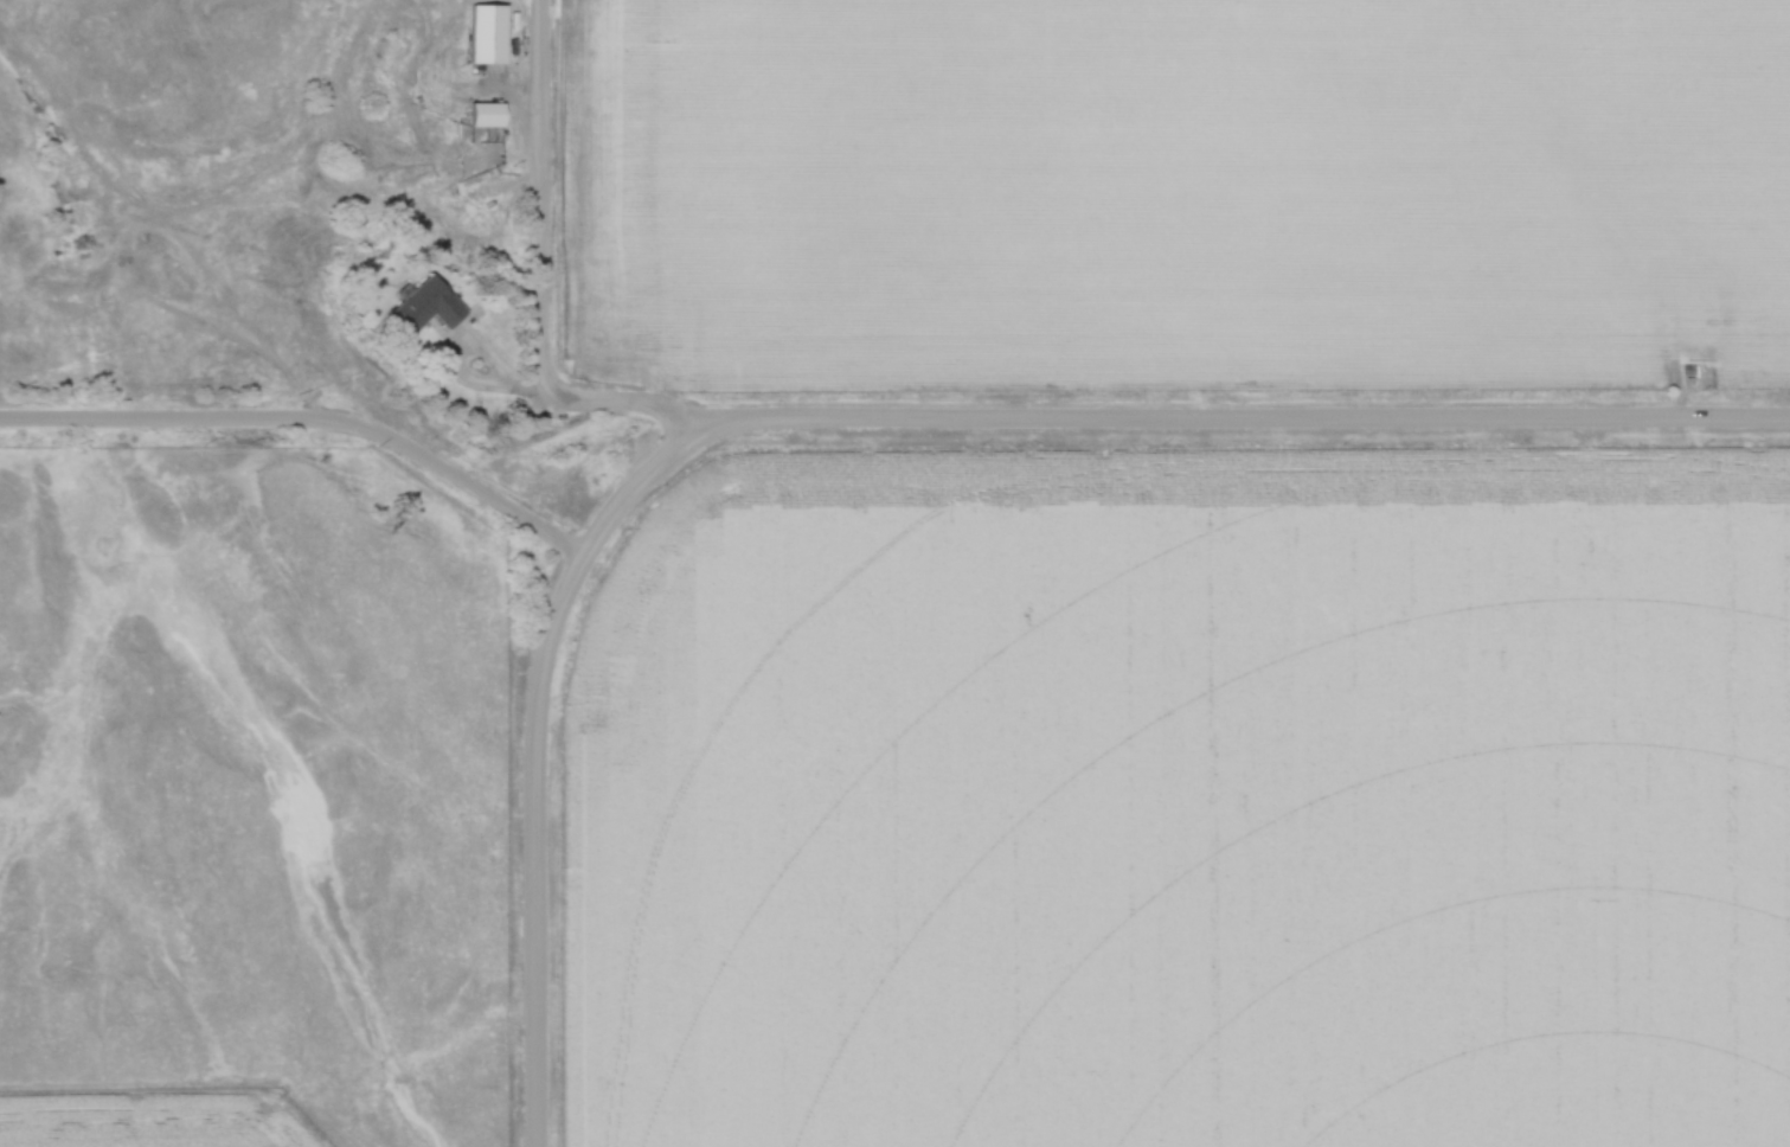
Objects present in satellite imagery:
building: (492, 116)
road: (538, 197)
building: (430, 308)
road: (458, 363)
road: (530, 390)
road: (1244, 421)
road: (310, 423)
road: (541, 683)

